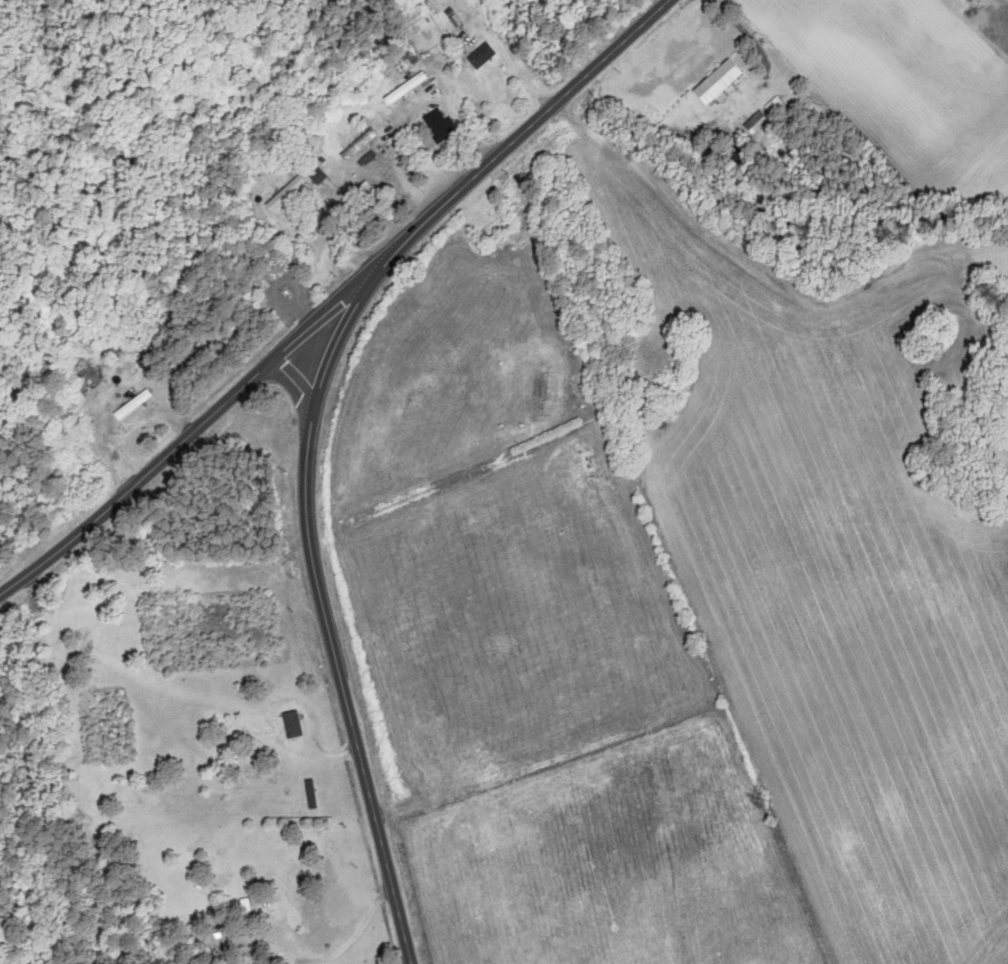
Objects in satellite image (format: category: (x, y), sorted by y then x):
building: (405, 54)
building: (481, 55)
building: (718, 80)
building: (405, 88)
building: (439, 125)
building: (360, 144)
building: (318, 176)
building: (286, 193)
road: (298, 385)
building: (537, 395)
road: (312, 416)
road: (187, 441)
building: (293, 725)
building: (245, 912)

